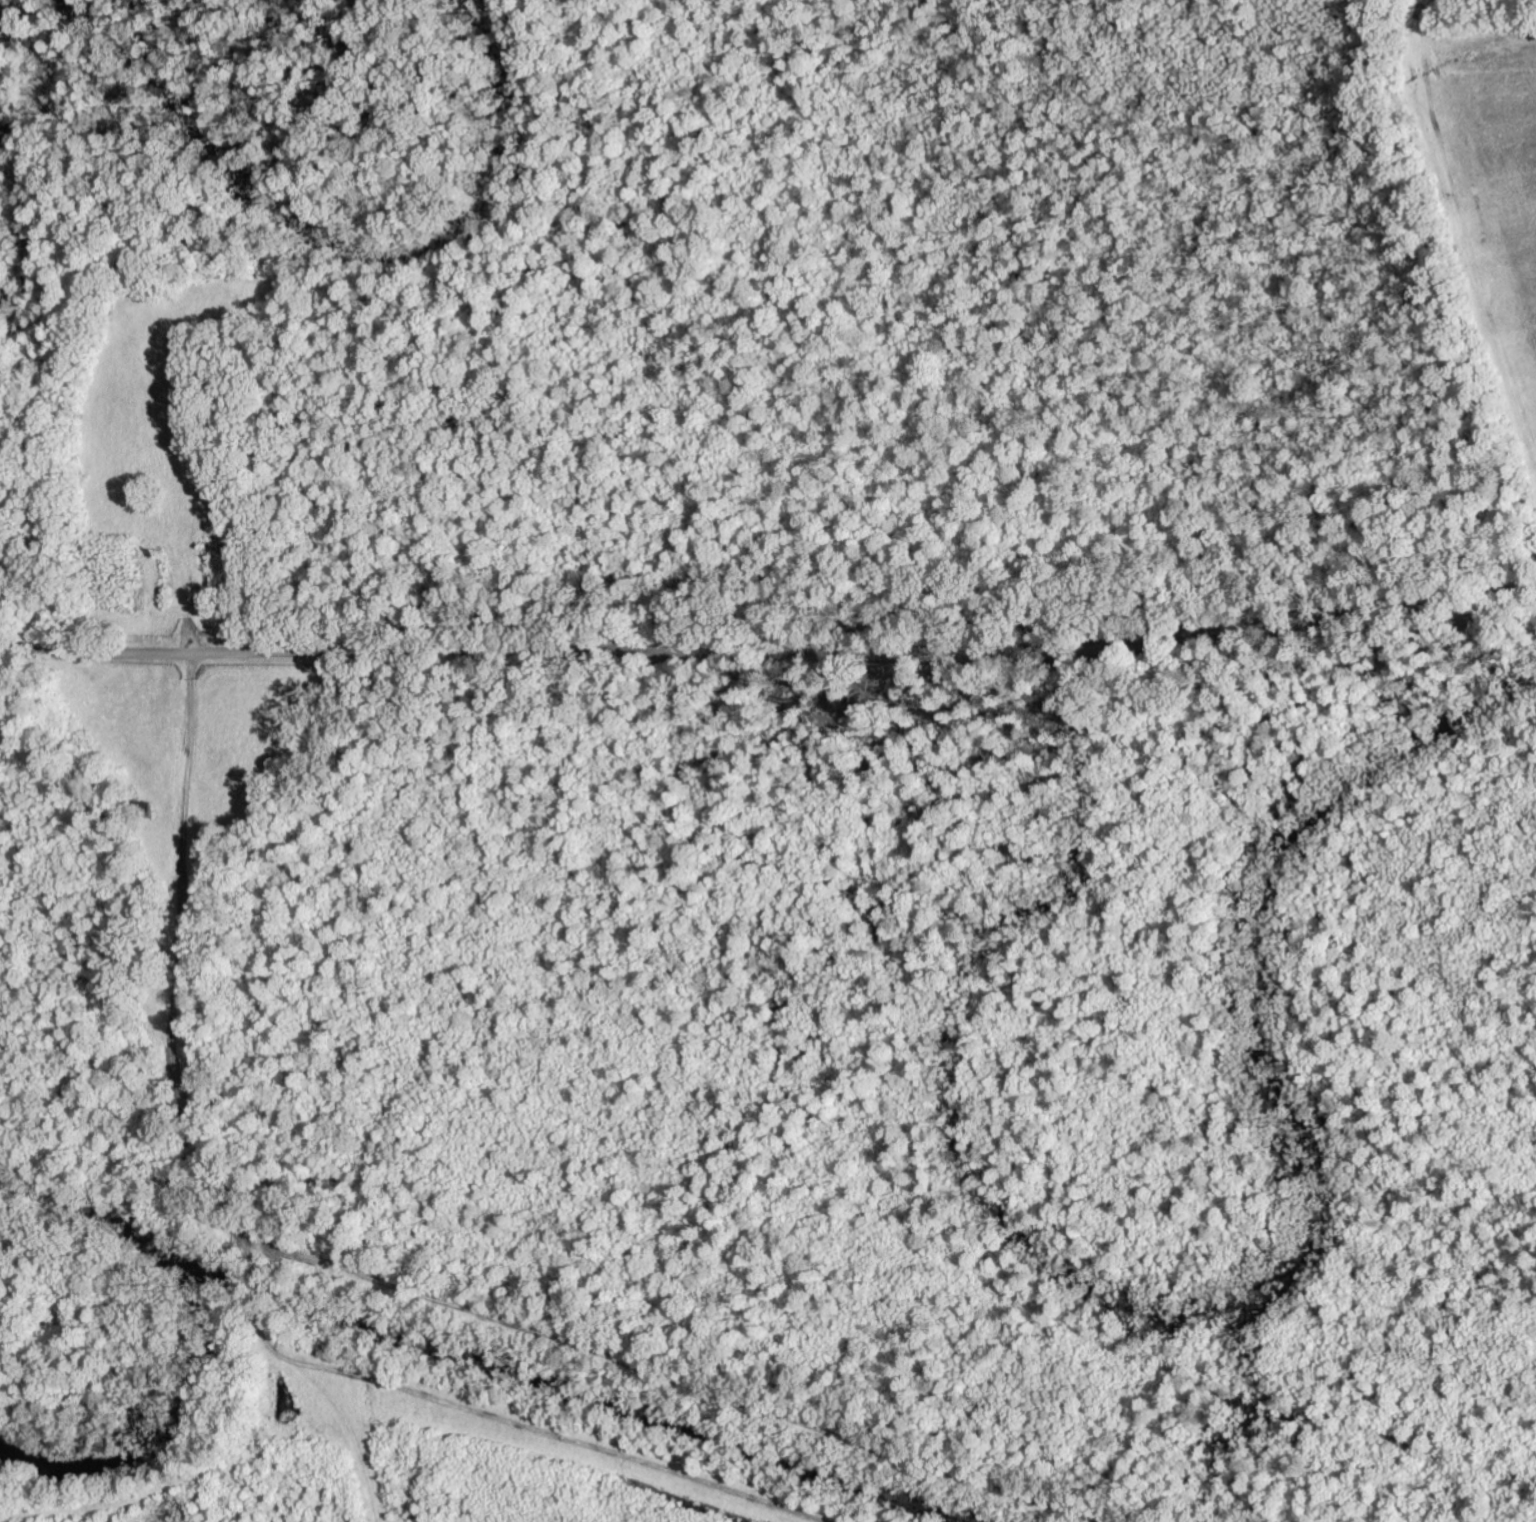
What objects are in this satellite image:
road: (1430, 296)
road: (770, 656)
road: (296, 1090)

